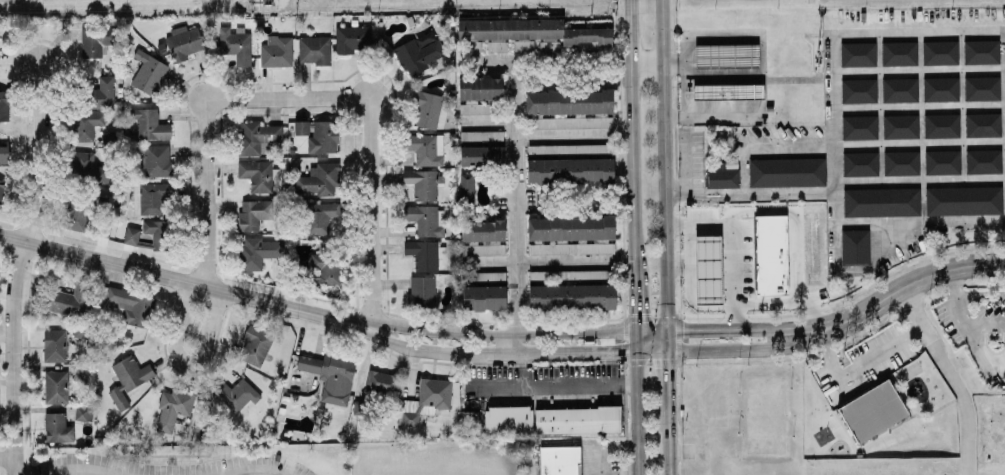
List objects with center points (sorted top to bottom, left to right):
power tower: (812, 0)
power tower: (252, 1)
building: (535, 32)
building: (352, 38)
building: (96, 39)
building: (183, 41)
building: (236, 44)
building: (497, 46)
building: (314, 49)
building: (276, 51)
building: (419, 51)
building: (981, 52)
building: (939, 53)
building: (856, 54)
building: (900, 54)
building: (727, 55)
road: (544, 61)
road: (645, 64)
building: (148, 71)
road: (919, 71)
building: (480, 87)
building: (982, 87)
building: (940, 89)
building: (729, 90)
building: (899, 90)
building: (104, 91)
building: (859, 92)
building: (4, 105)
building: (475, 106)
building: (571, 107)
building: (769, 107)
road: (919, 107)
building: (426, 109)
road: (833, 109)
road: (204, 115)
road: (486, 122)
building: (86, 124)
building: (150, 124)
building: (983, 124)
building: (942, 125)
building: (900, 126)
building: (301, 127)
building: (858, 127)
building: (481, 135)
road: (561, 135)
building: (257, 137)
building: (323, 137)
road: (629, 139)
road: (872, 144)
building: (424, 147)
building: (566, 149)
building: (4, 154)
building: (482, 155)
building: (155, 160)
building: (985, 161)
building: (943, 162)
building: (731, 163)
building: (860, 163)
building: (902, 163)
road: (664, 165)
road: (691, 165)
building: (89, 168)
building: (570, 170)
road: (741, 171)
building: (788, 172)
building: (258, 174)
building: (722, 177)
building: (318, 179)
road: (919, 180)
building: (422, 182)
road: (678, 184)
building: (466, 186)
building: (1, 189)
road: (762, 195)
building: (153, 198)
building: (964, 200)
building: (881, 201)
road: (515, 207)
building: (254, 212)
building: (77, 214)
road: (370, 214)
building: (320, 216)
road: (794, 222)
road: (920, 223)
building: (154, 230)
building: (571, 234)
building: (131, 235)
building: (482, 236)
road: (733, 246)
building: (856, 246)
building: (258, 251)
building: (424, 253)
building: (771, 255)
road: (534, 261)
road: (18, 267)
building: (324, 267)
building: (708, 269)
building: (483, 276)
road: (927, 277)
road: (184, 281)
building: (421, 291)
road: (980, 293)
building: (572, 295)
building: (484, 297)
building: (69, 300)
road: (786, 303)
building: (130, 304)
road: (634, 305)
road: (984, 324)
road: (963, 325)
road: (762, 328)
building: (81, 330)
road: (651, 331)
traffic signals: (668, 331)
traffic signals: (635, 332)
road: (502, 333)
road: (668, 342)
road: (635, 343)
building: (54, 344)
building: (255, 345)
road: (750, 349)
road: (442, 351)
road: (578, 354)
traffic signals: (668, 354)
traffic signals: (636, 355)
road: (185, 360)
road: (863, 365)
building: (331, 374)
road: (951, 376)
building: (128, 379)
building: (382, 383)
road: (668, 384)
road: (569, 386)
building: (55, 387)
building: (236, 394)
building: (427, 399)
building: (282, 410)
building: (873, 411)
building: (83, 413)
road: (636, 415)
building: (508, 420)
building: (578, 420)
building: (57, 428)
road: (669, 445)
road: (607, 448)
road: (7, 457)
building: (560, 460)
road: (258, 462)
road: (77, 467)

